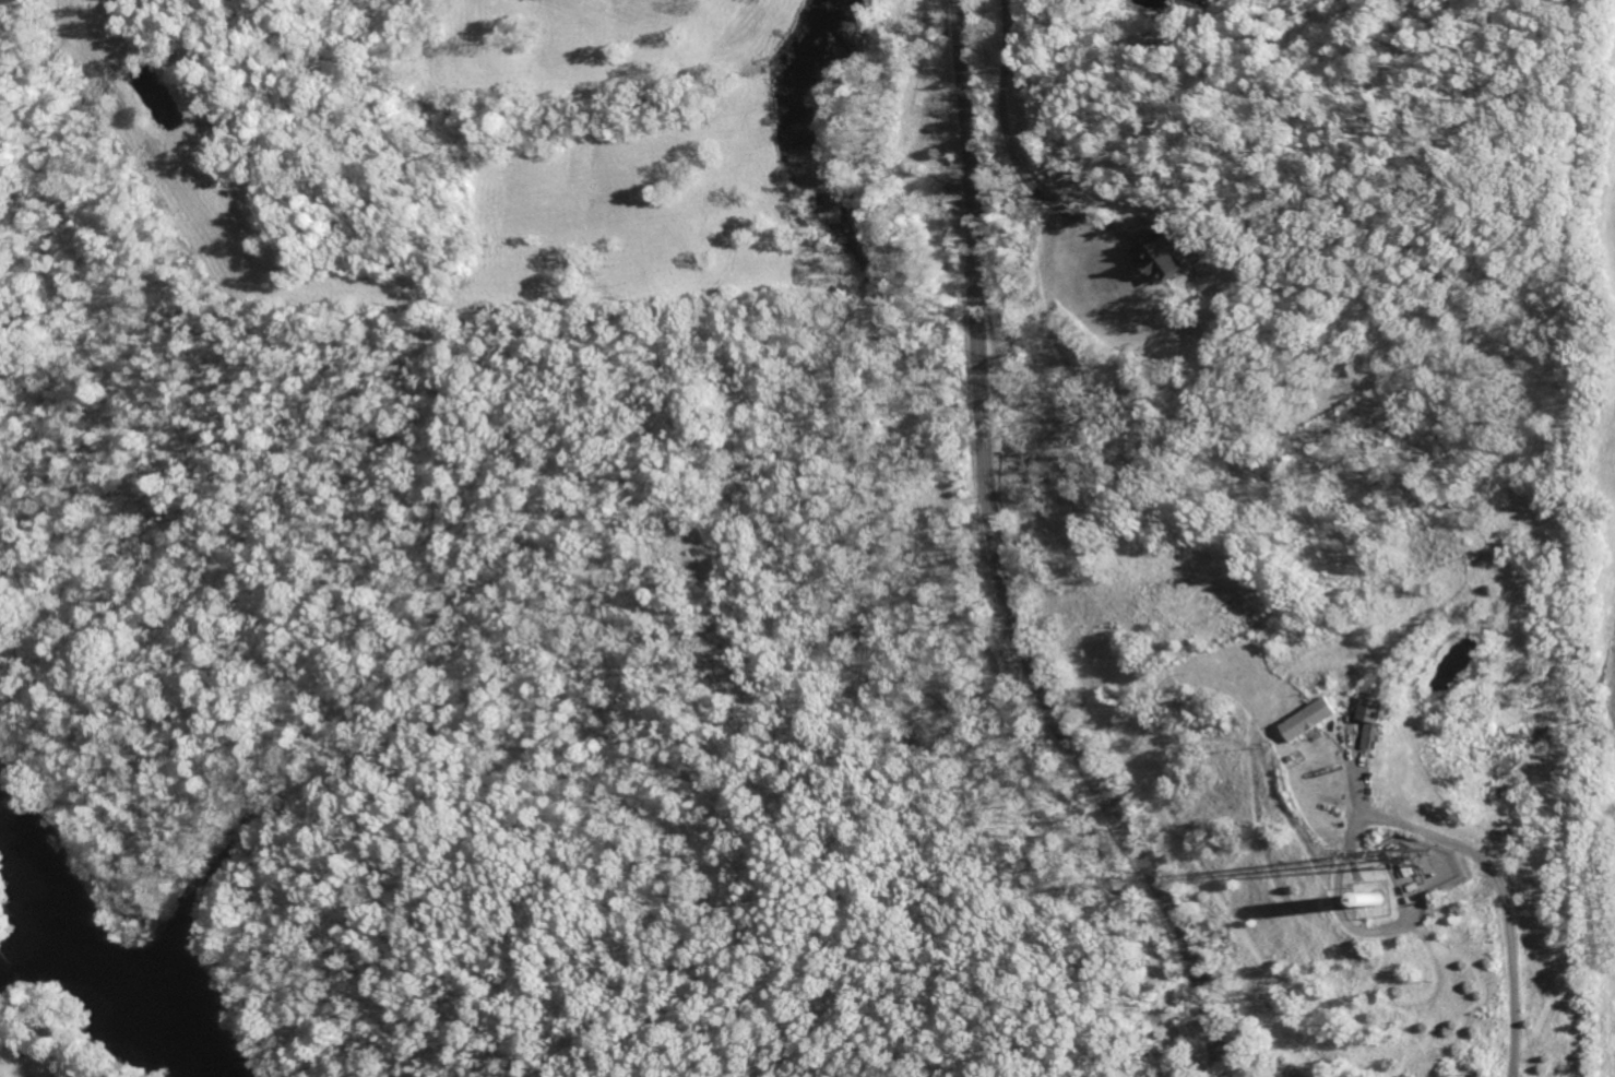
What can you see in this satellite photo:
road: (1016, 156)
building: (1167, 261)
building: (1264, 468)
road: (996, 563)
building: (1378, 710)
building: (1315, 722)
road: (1341, 876)
water tower: (1381, 913)
road: (1510, 978)
road: (1254, 1066)

